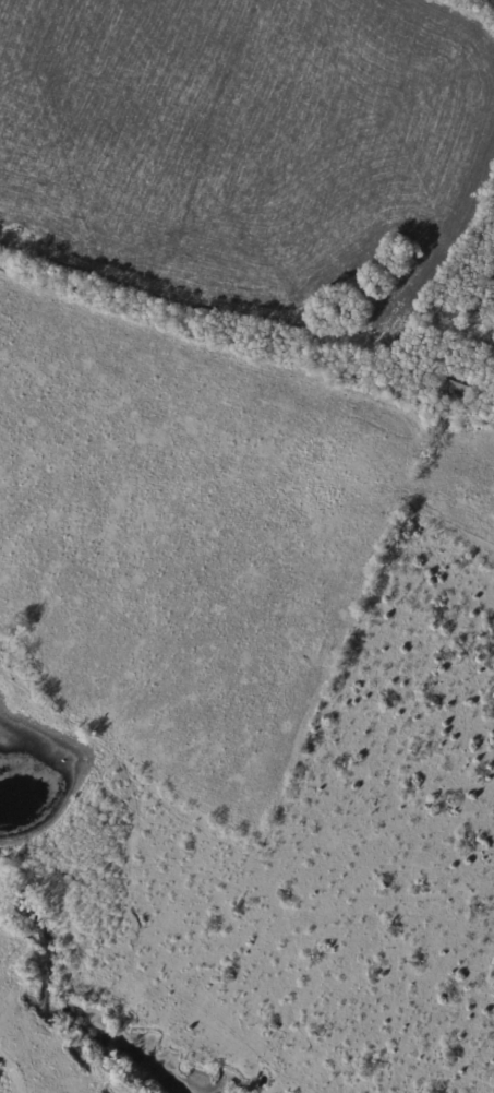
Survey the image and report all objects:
building: (458, 392)

